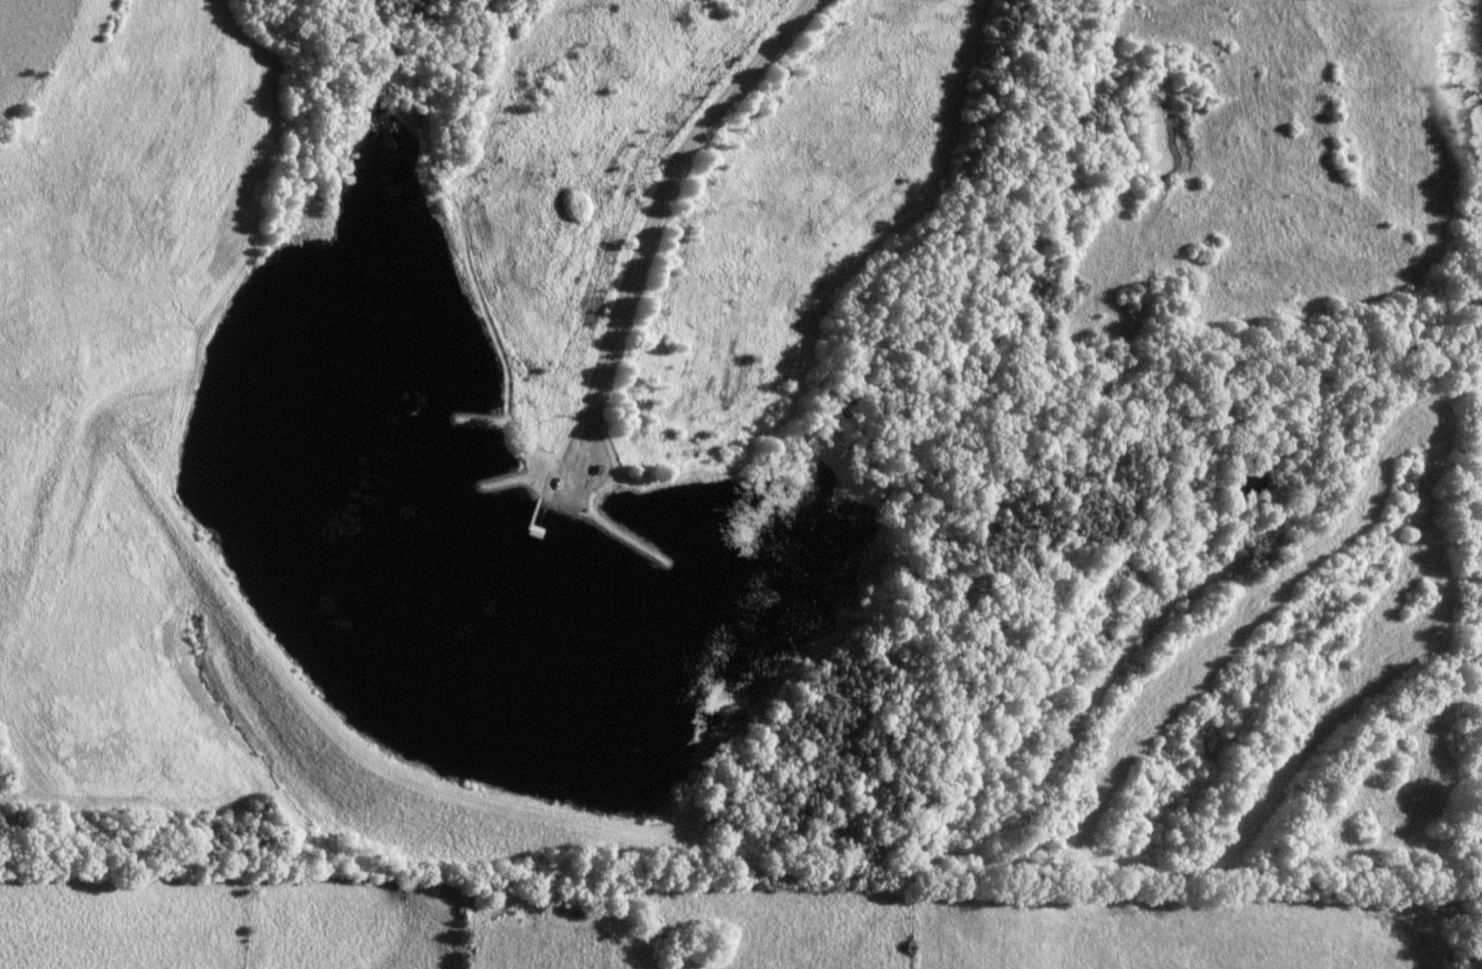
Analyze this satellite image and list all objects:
road: (647, 232)
road: (1469, 954)

